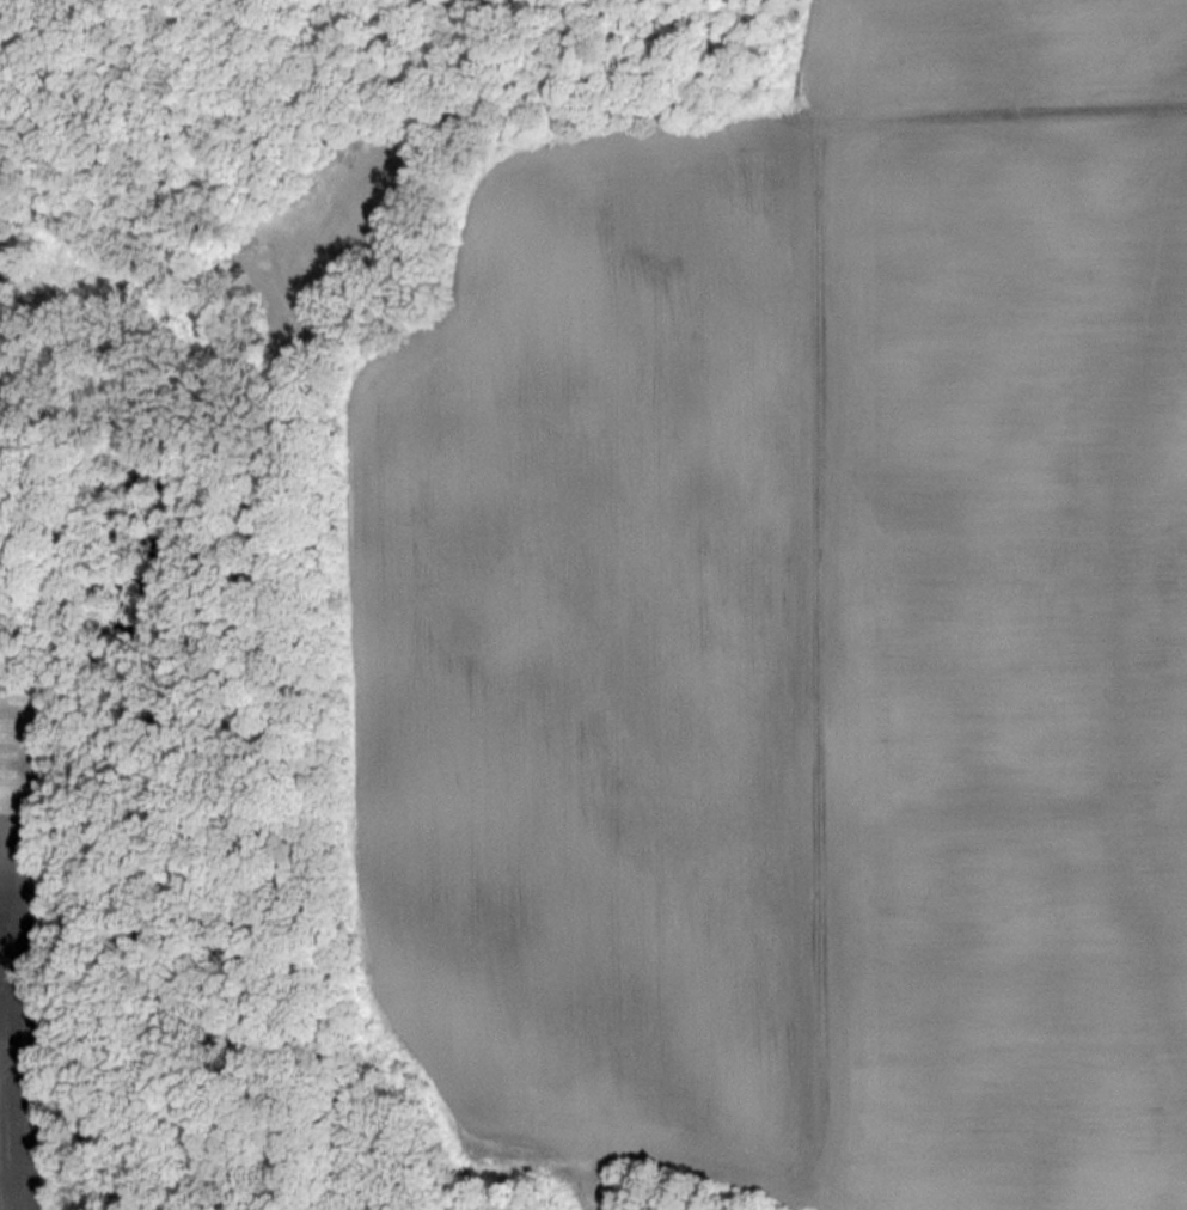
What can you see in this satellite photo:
crop: (795, 631)
crop: (18, 980)

